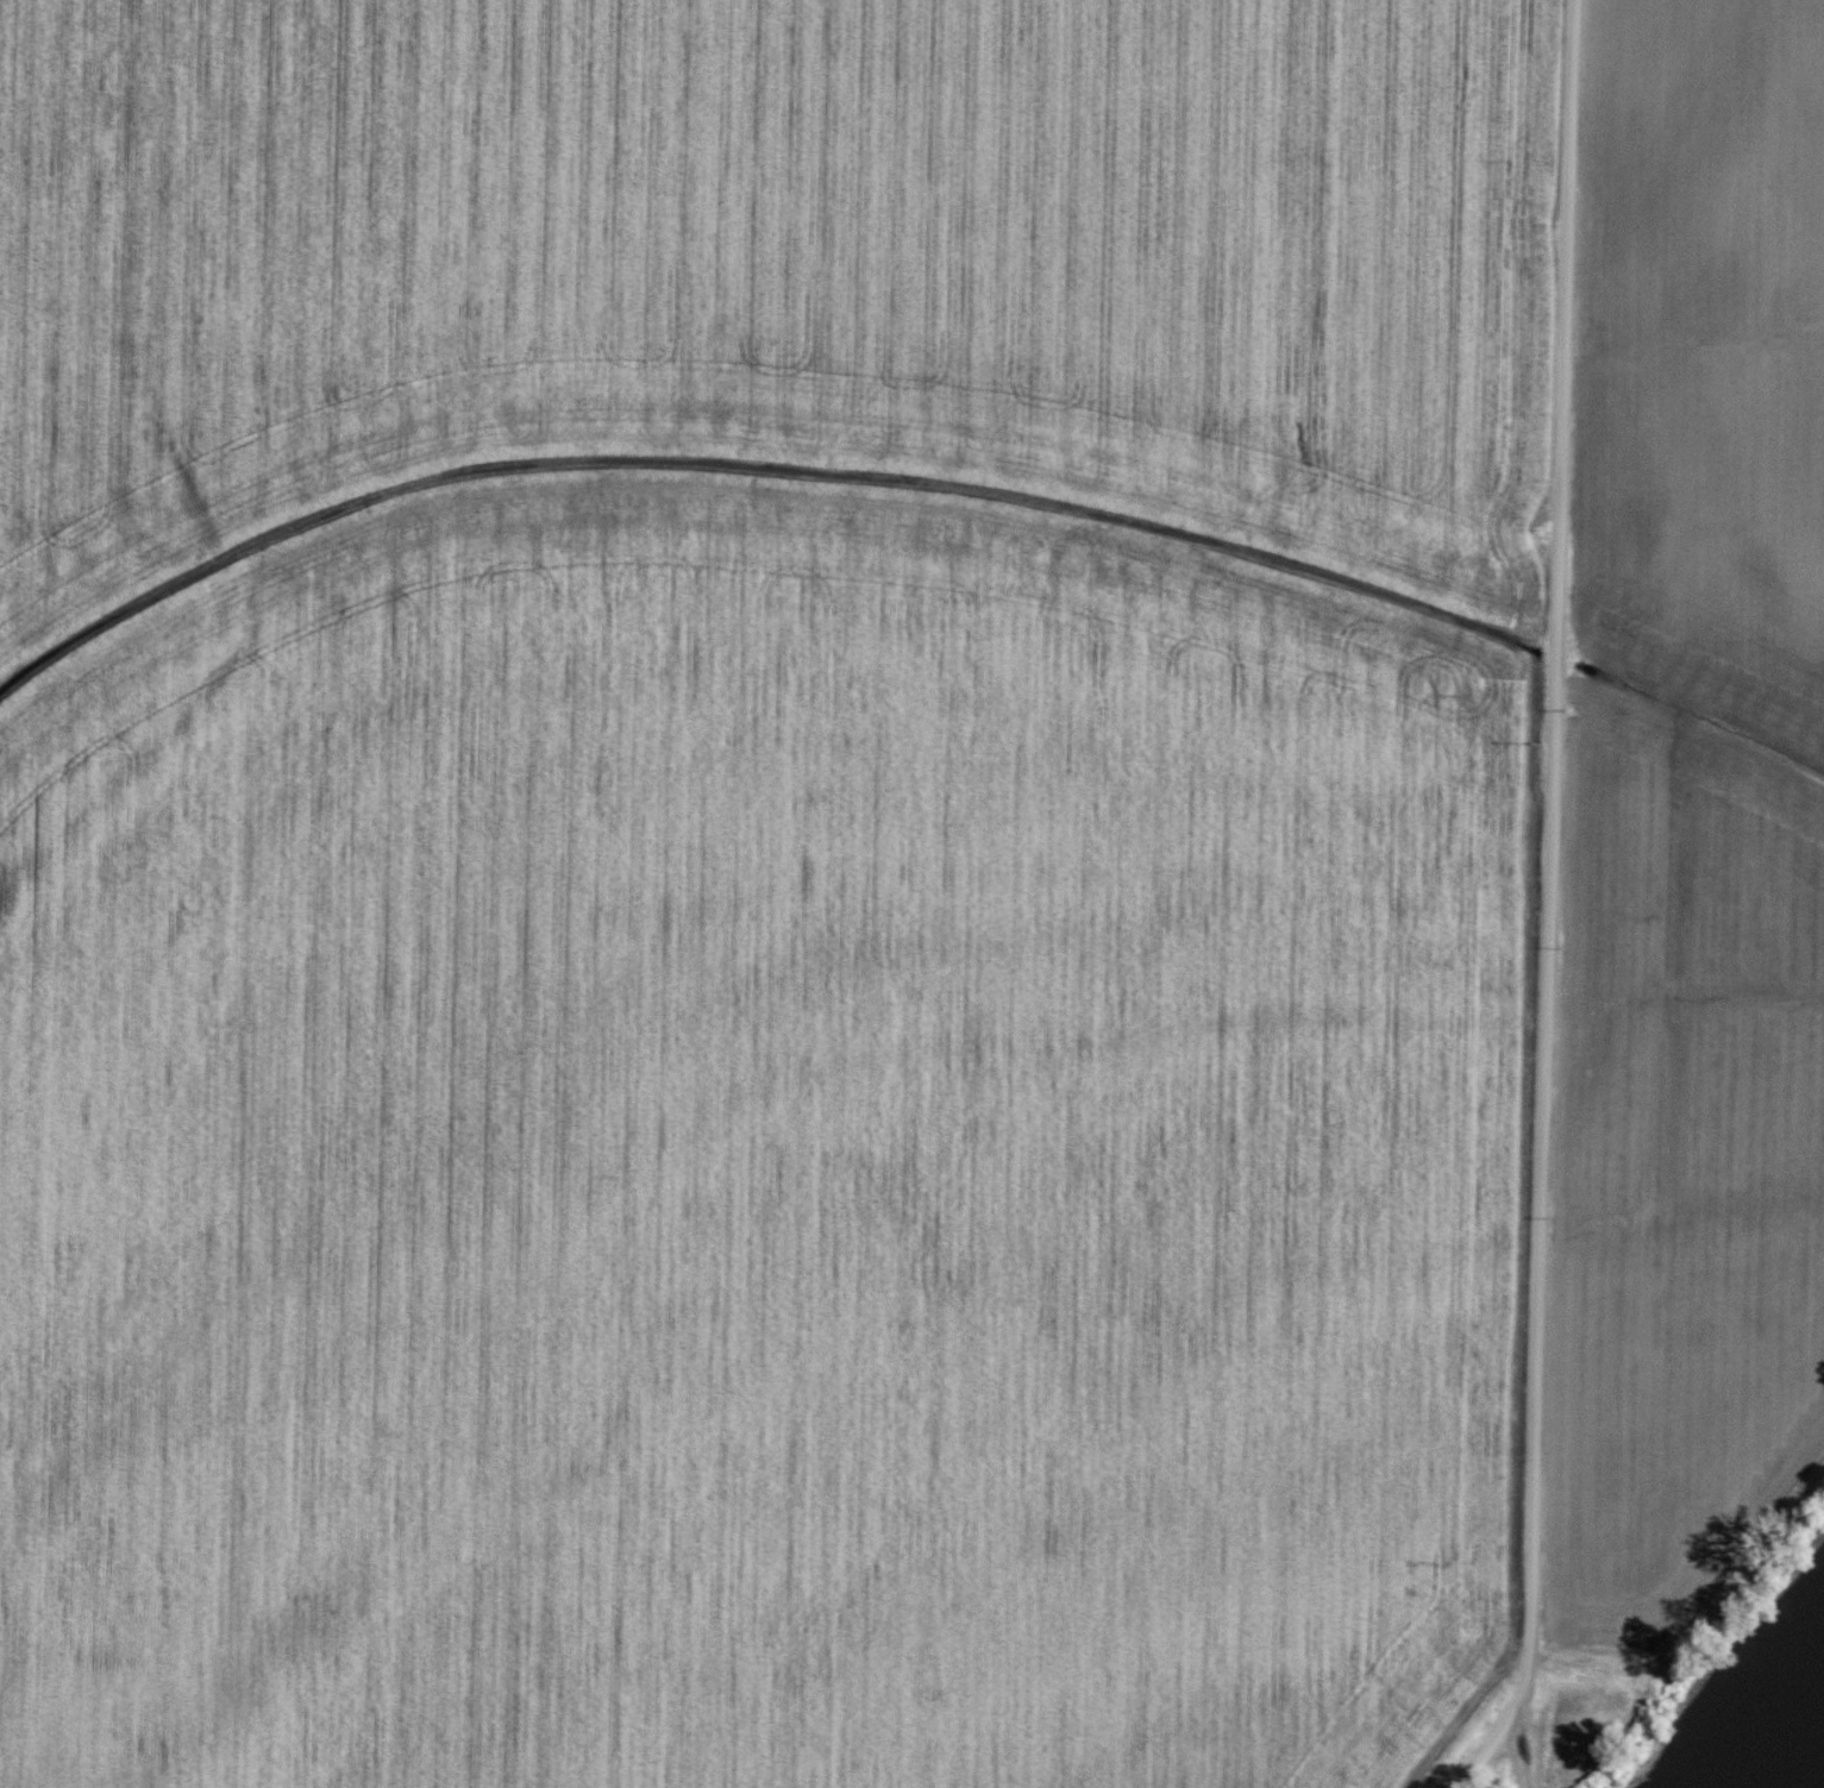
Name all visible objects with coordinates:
road: (1554, 905)

